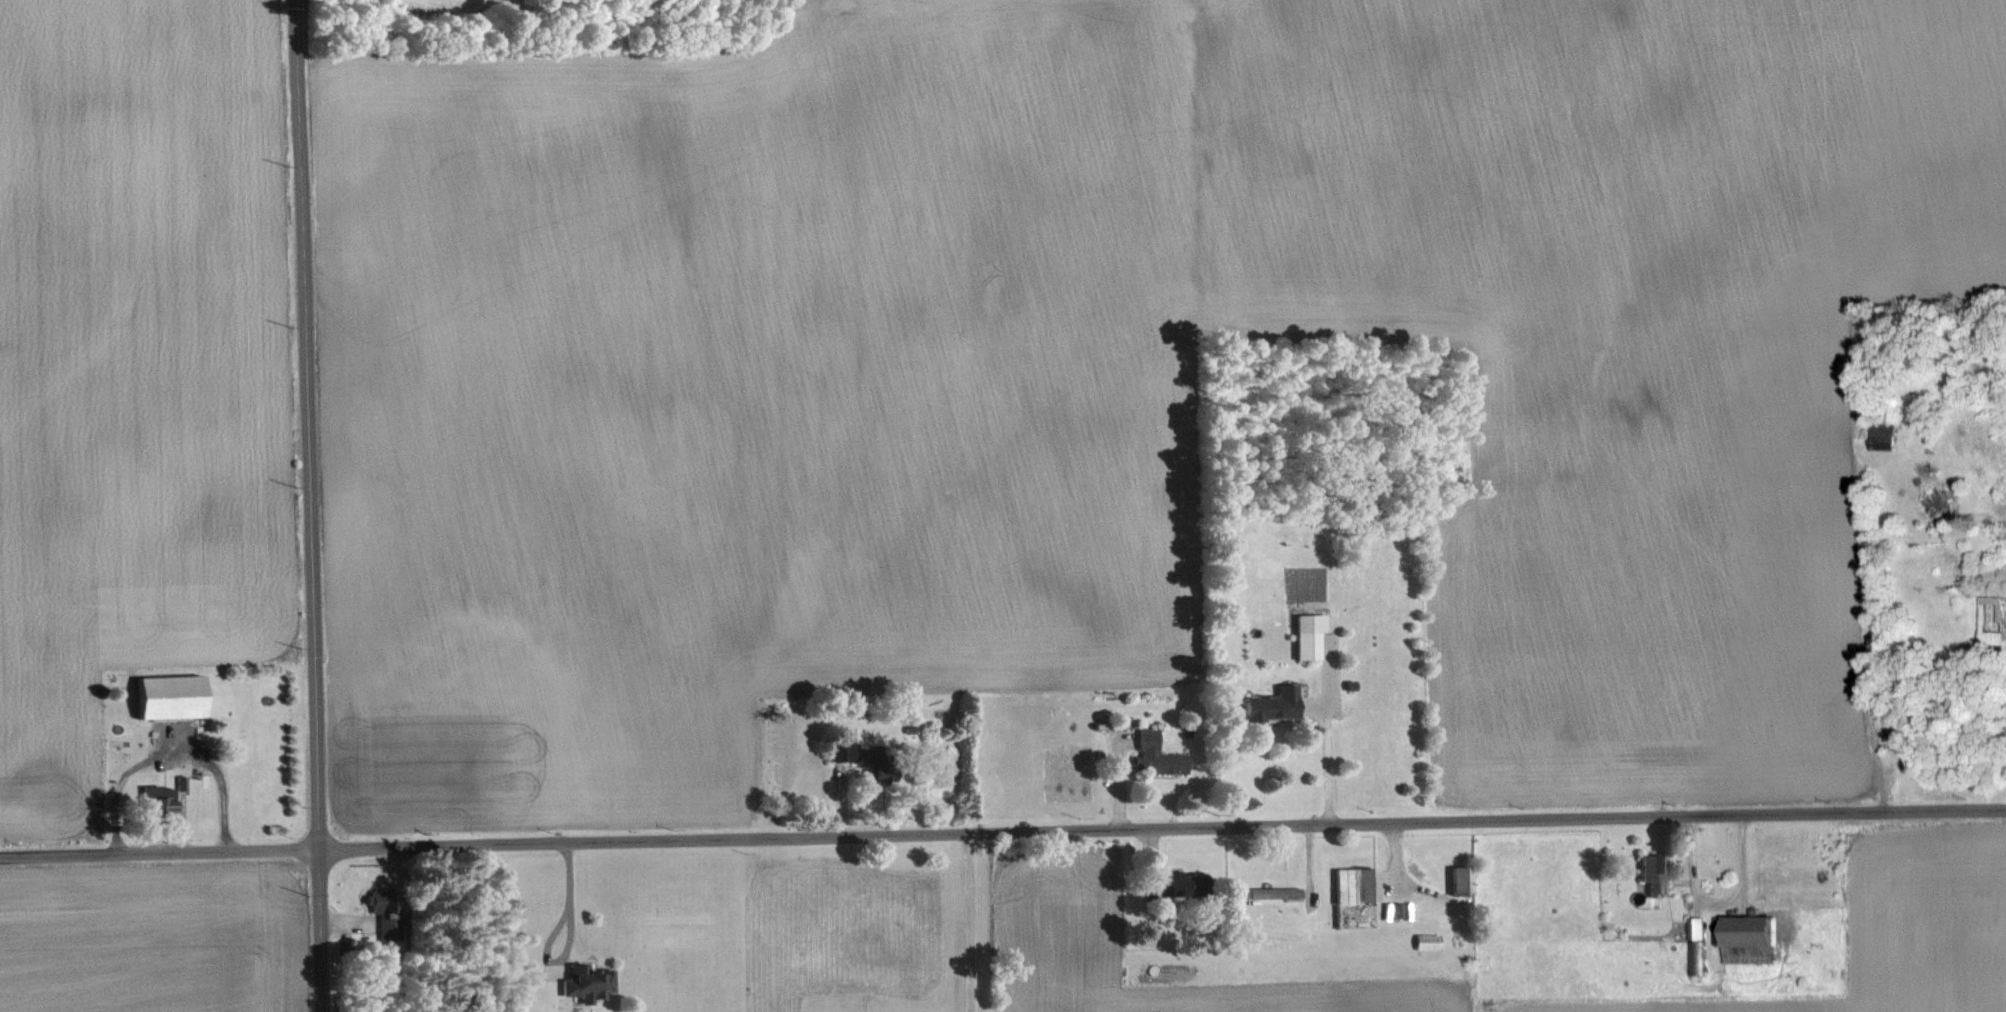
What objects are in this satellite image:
road: (306, 424)
building: (1884, 434)
building: (1943, 499)
building: (2001, 533)
building: (1308, 645)
building: (171, 696)
building: (1273, 705)
building: (854, 752)
building: (1158, 756)
building: (160, 800)
road: (1162, 829)
road: (159, 851)
building: (1654, 873)
building: (1462, 880)
building: (1176, 884)
building: (1356, 897)
building: (388, 915)
road: (319, 930)
building: (1752, 939)
building: (1427, 940)
building: (1696, 945)
building: (588, 981)

